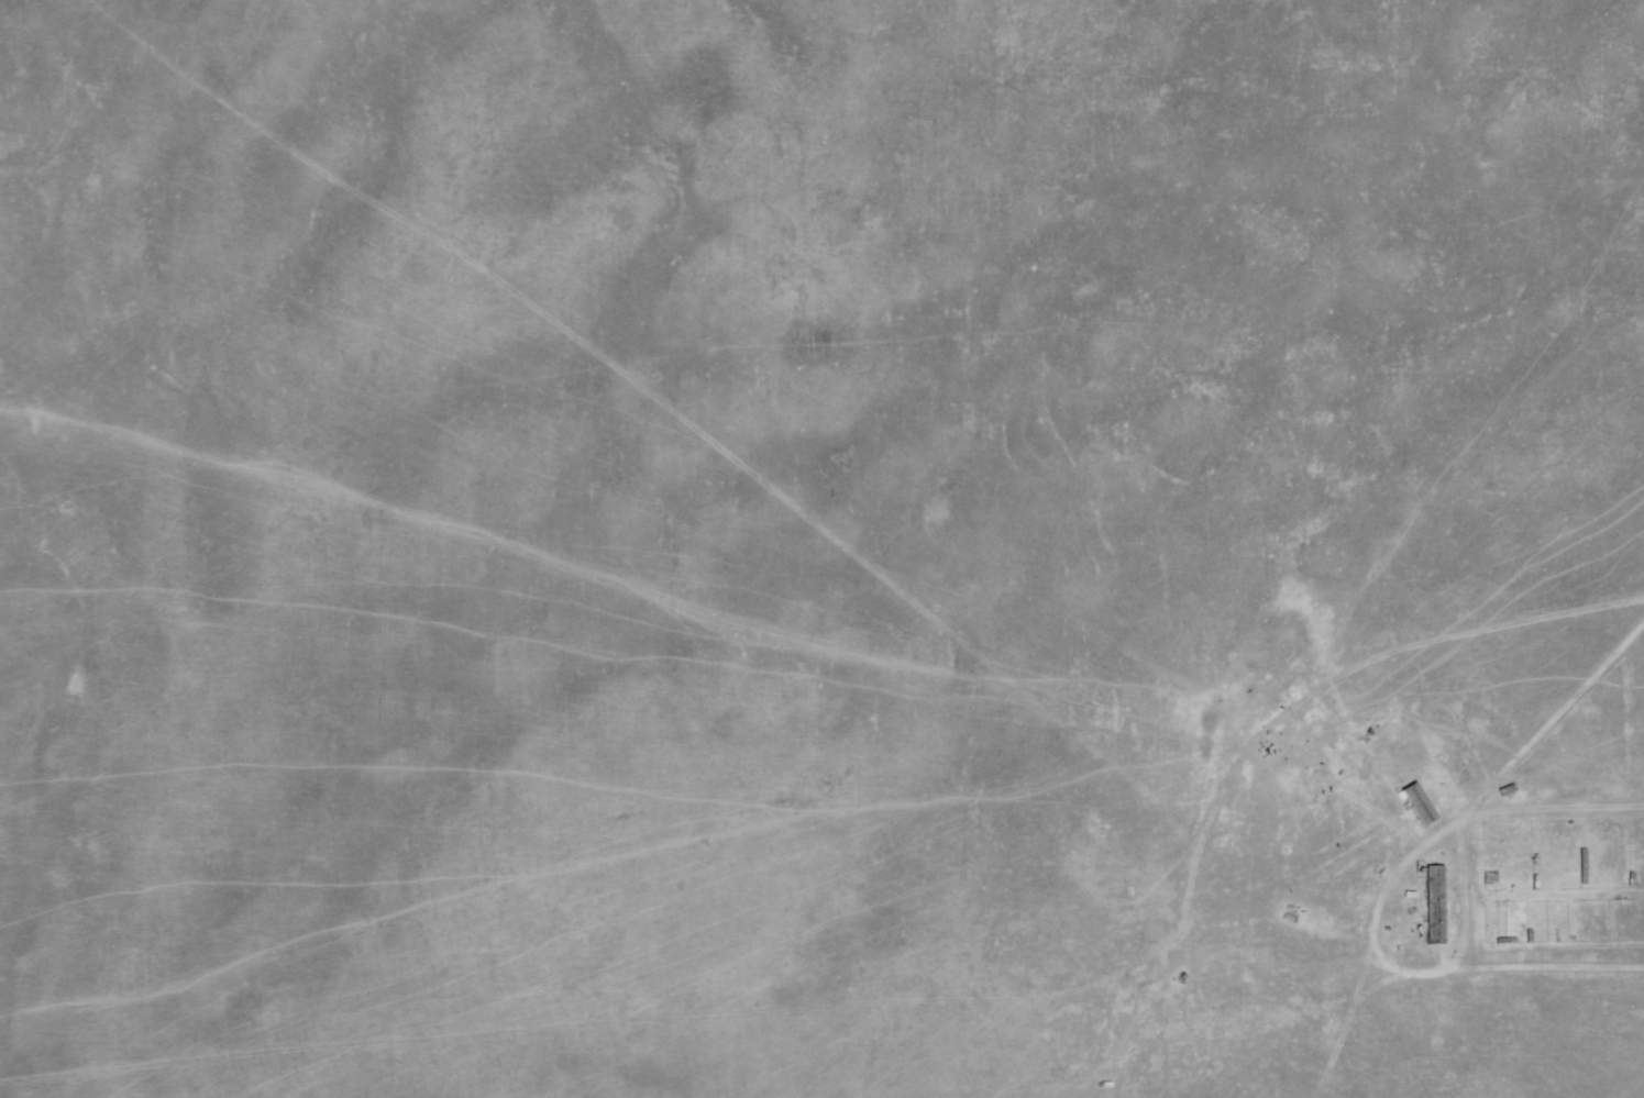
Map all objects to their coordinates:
road: (1555, 720)
building: (1420, 805)
road: (1557, 810)
building: (1436, 906)
road: (1397, 968)
road: (1544, 969)

